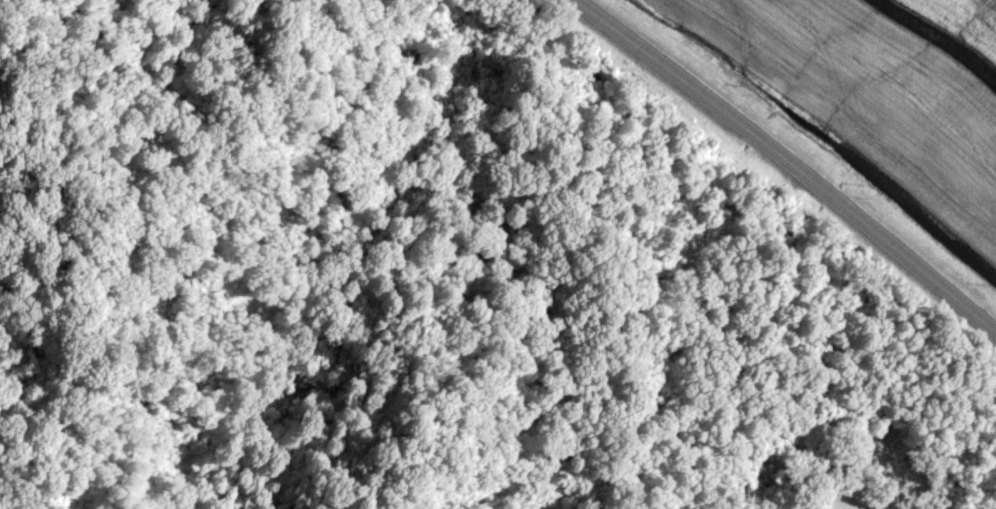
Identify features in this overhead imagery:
road: (791, 163)

